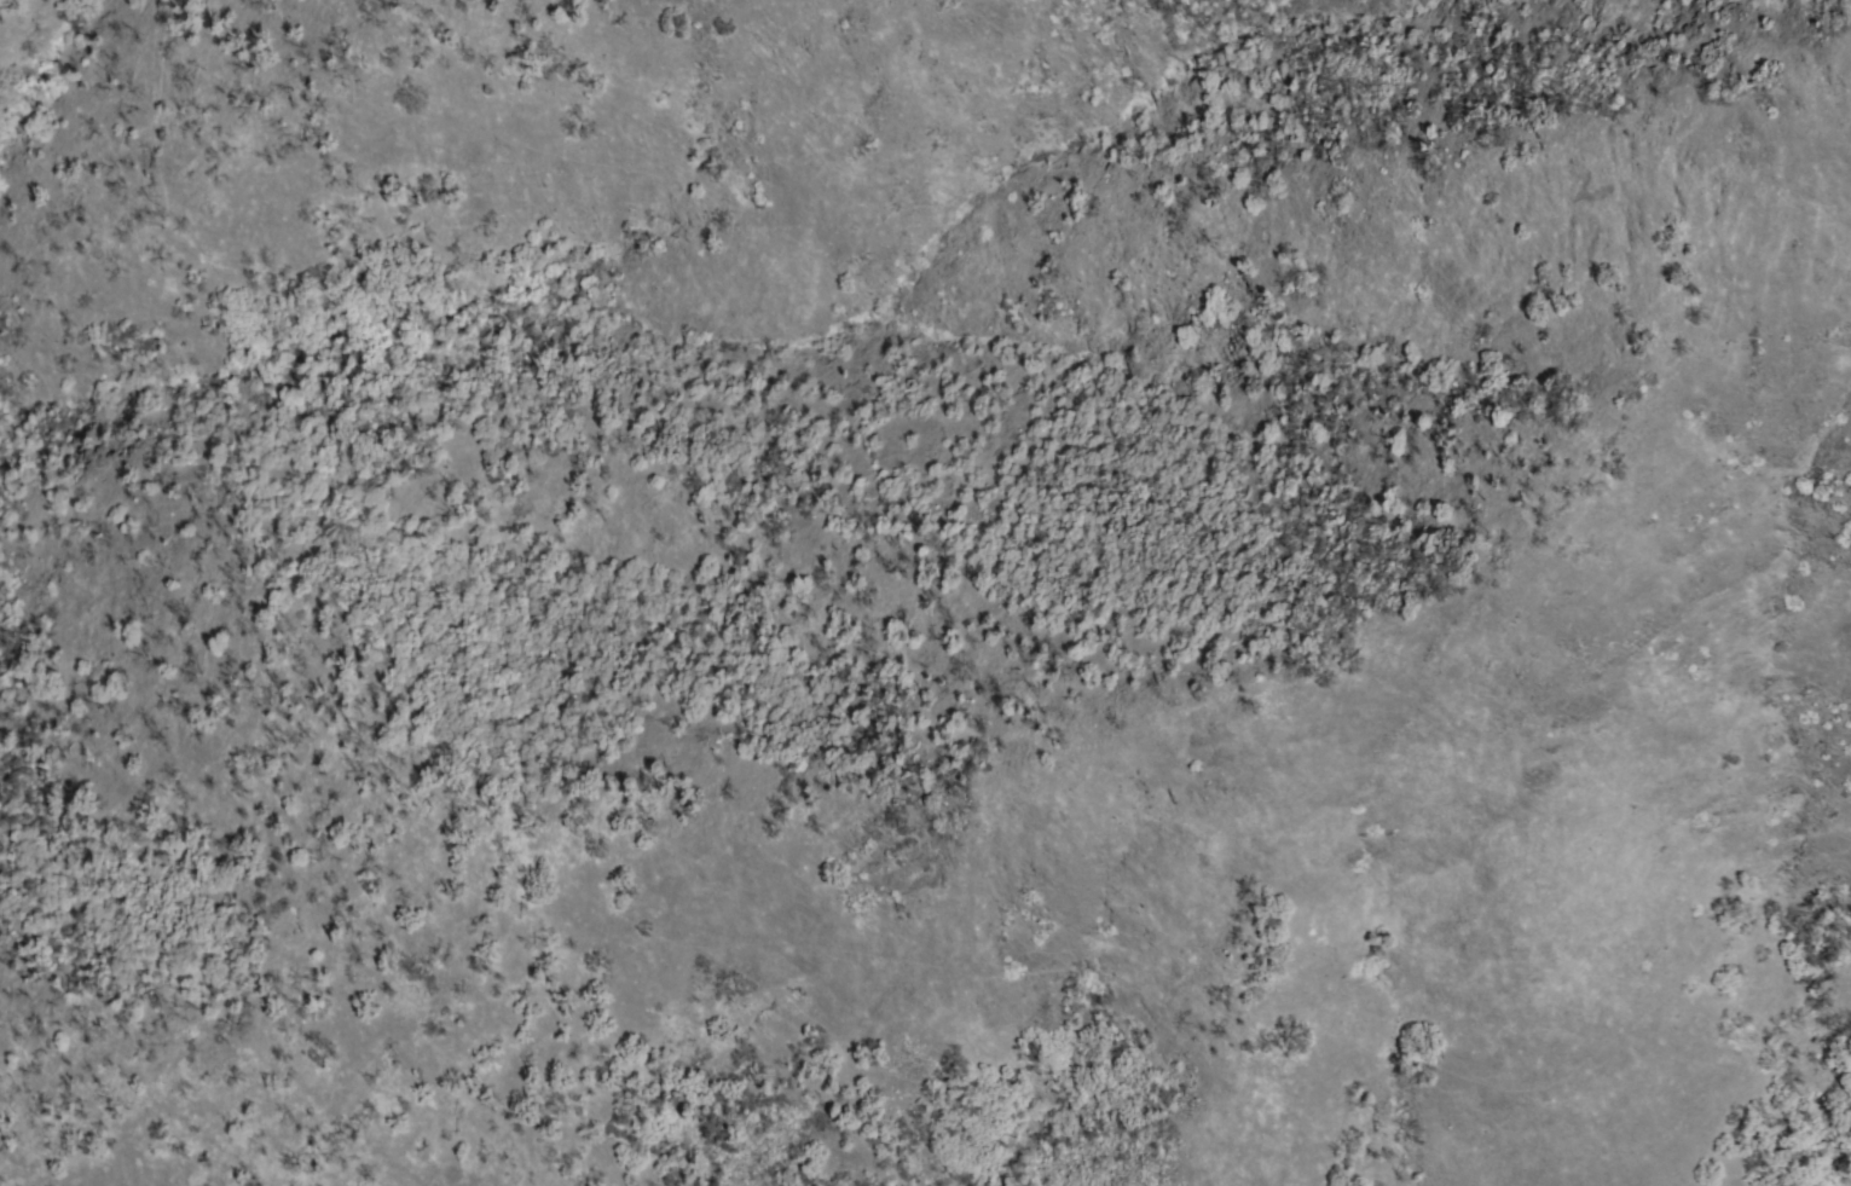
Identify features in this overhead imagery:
road: (785, 887)

